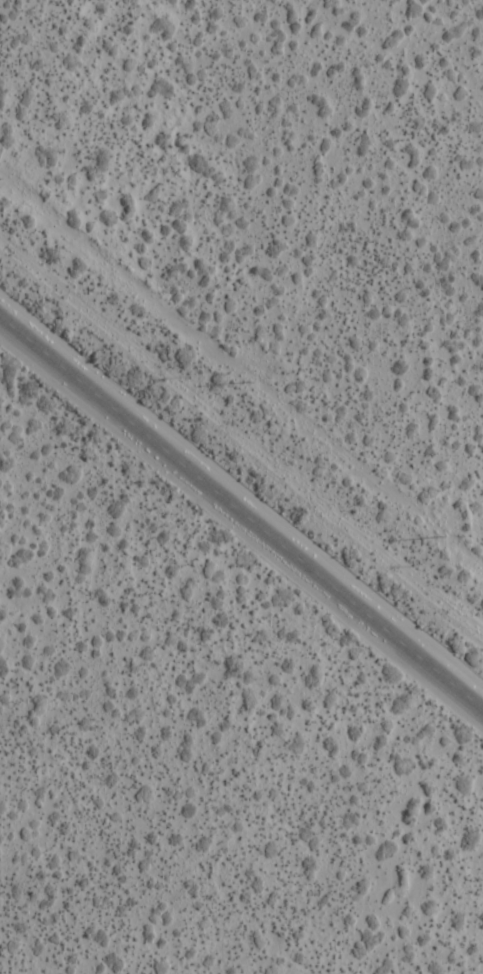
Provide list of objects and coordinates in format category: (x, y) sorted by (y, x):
road: (242, 503)

